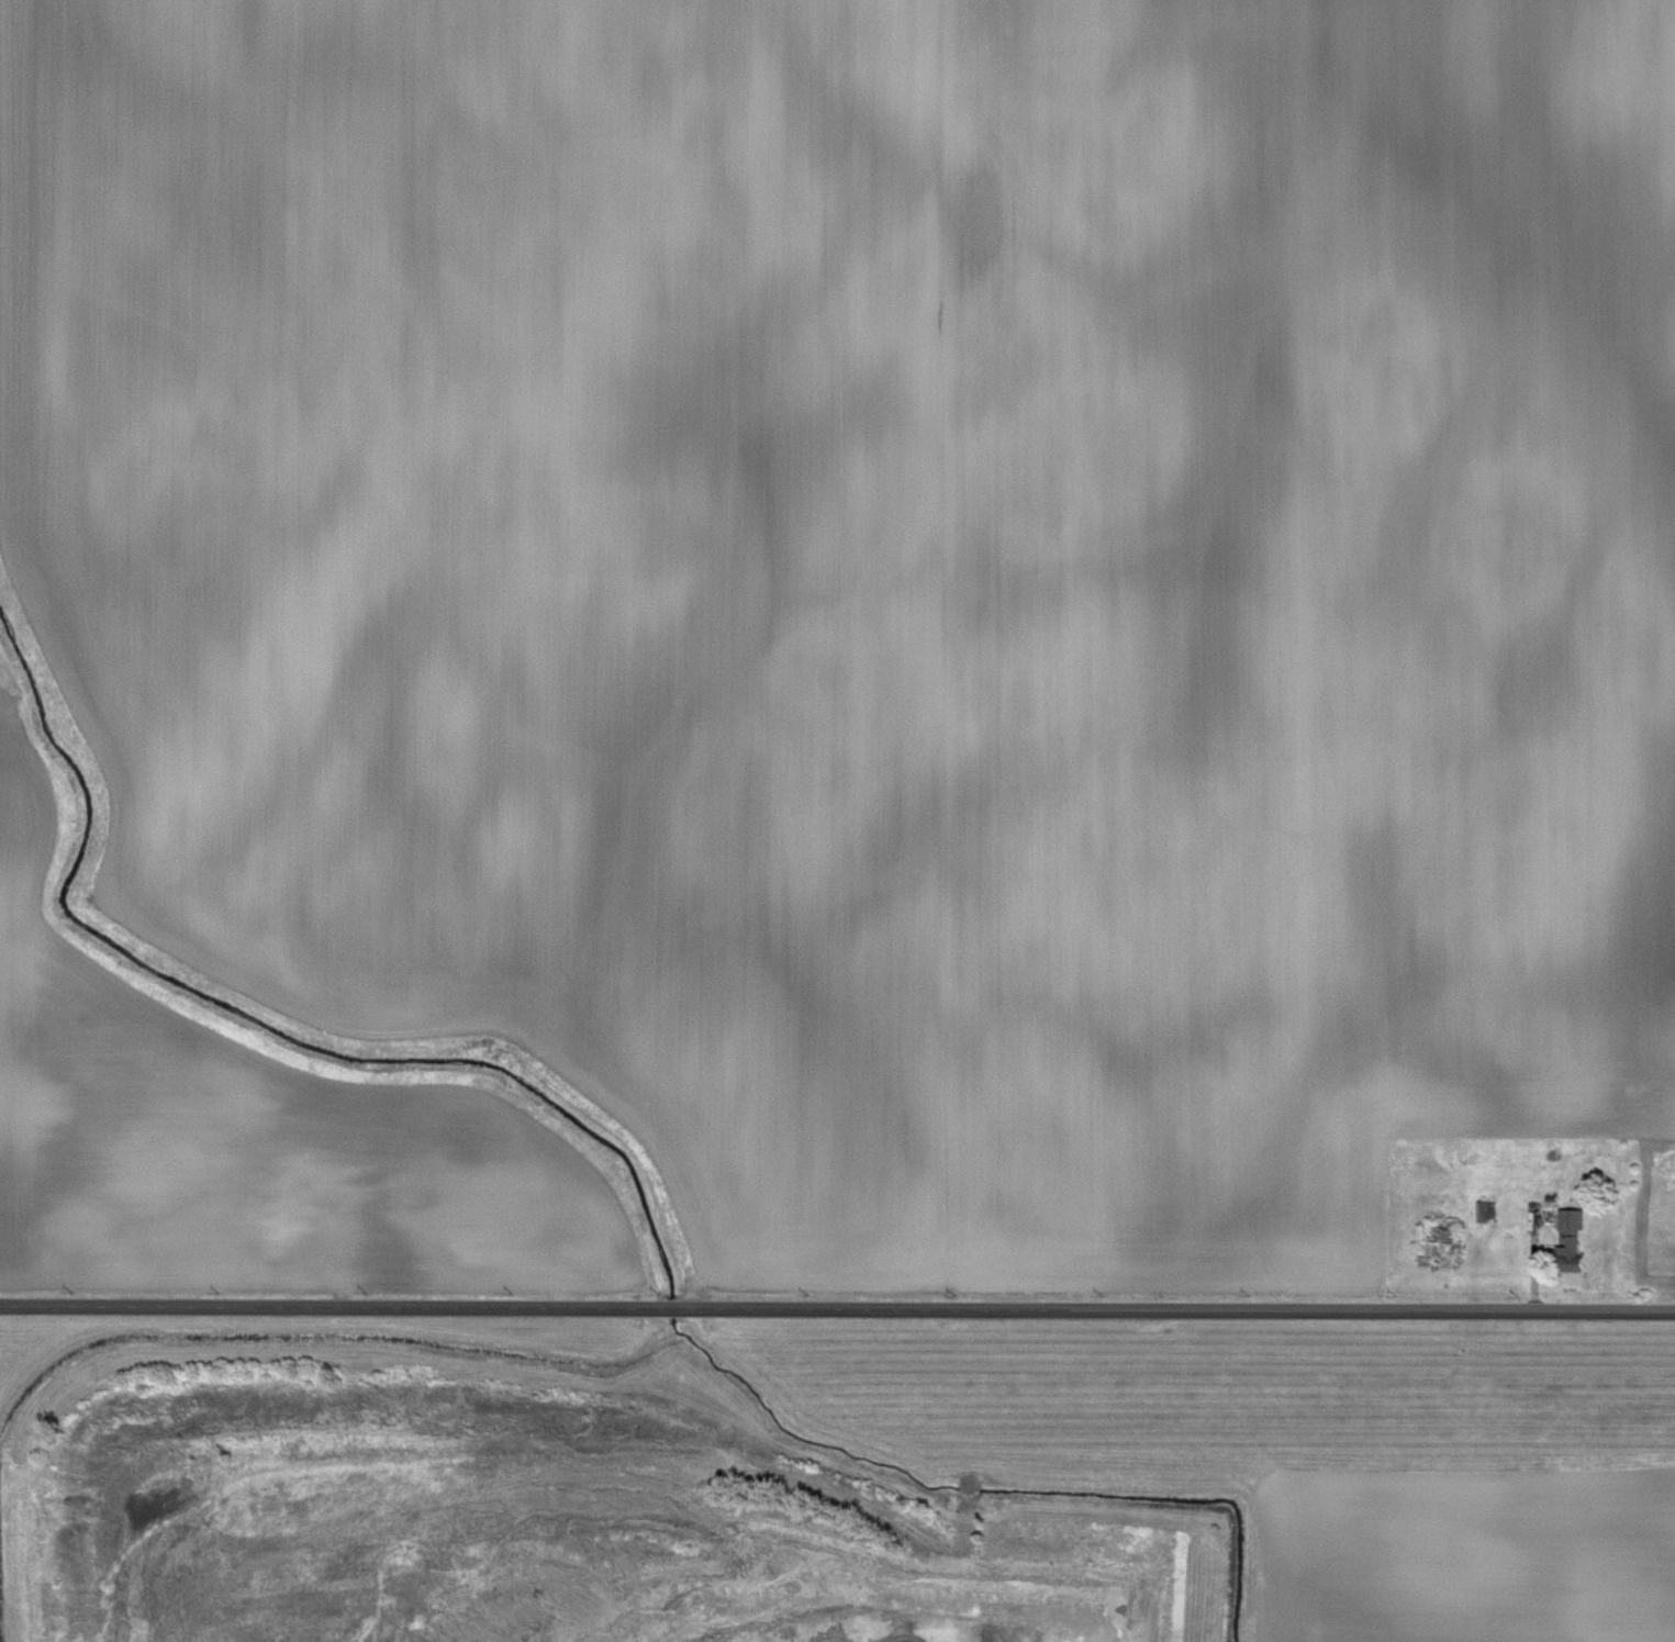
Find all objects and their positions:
building: (276, 1224)
building: (340, 1224)
building: (1571, 1241)
road: (837, 1310)
quarry: (834, 1482)

